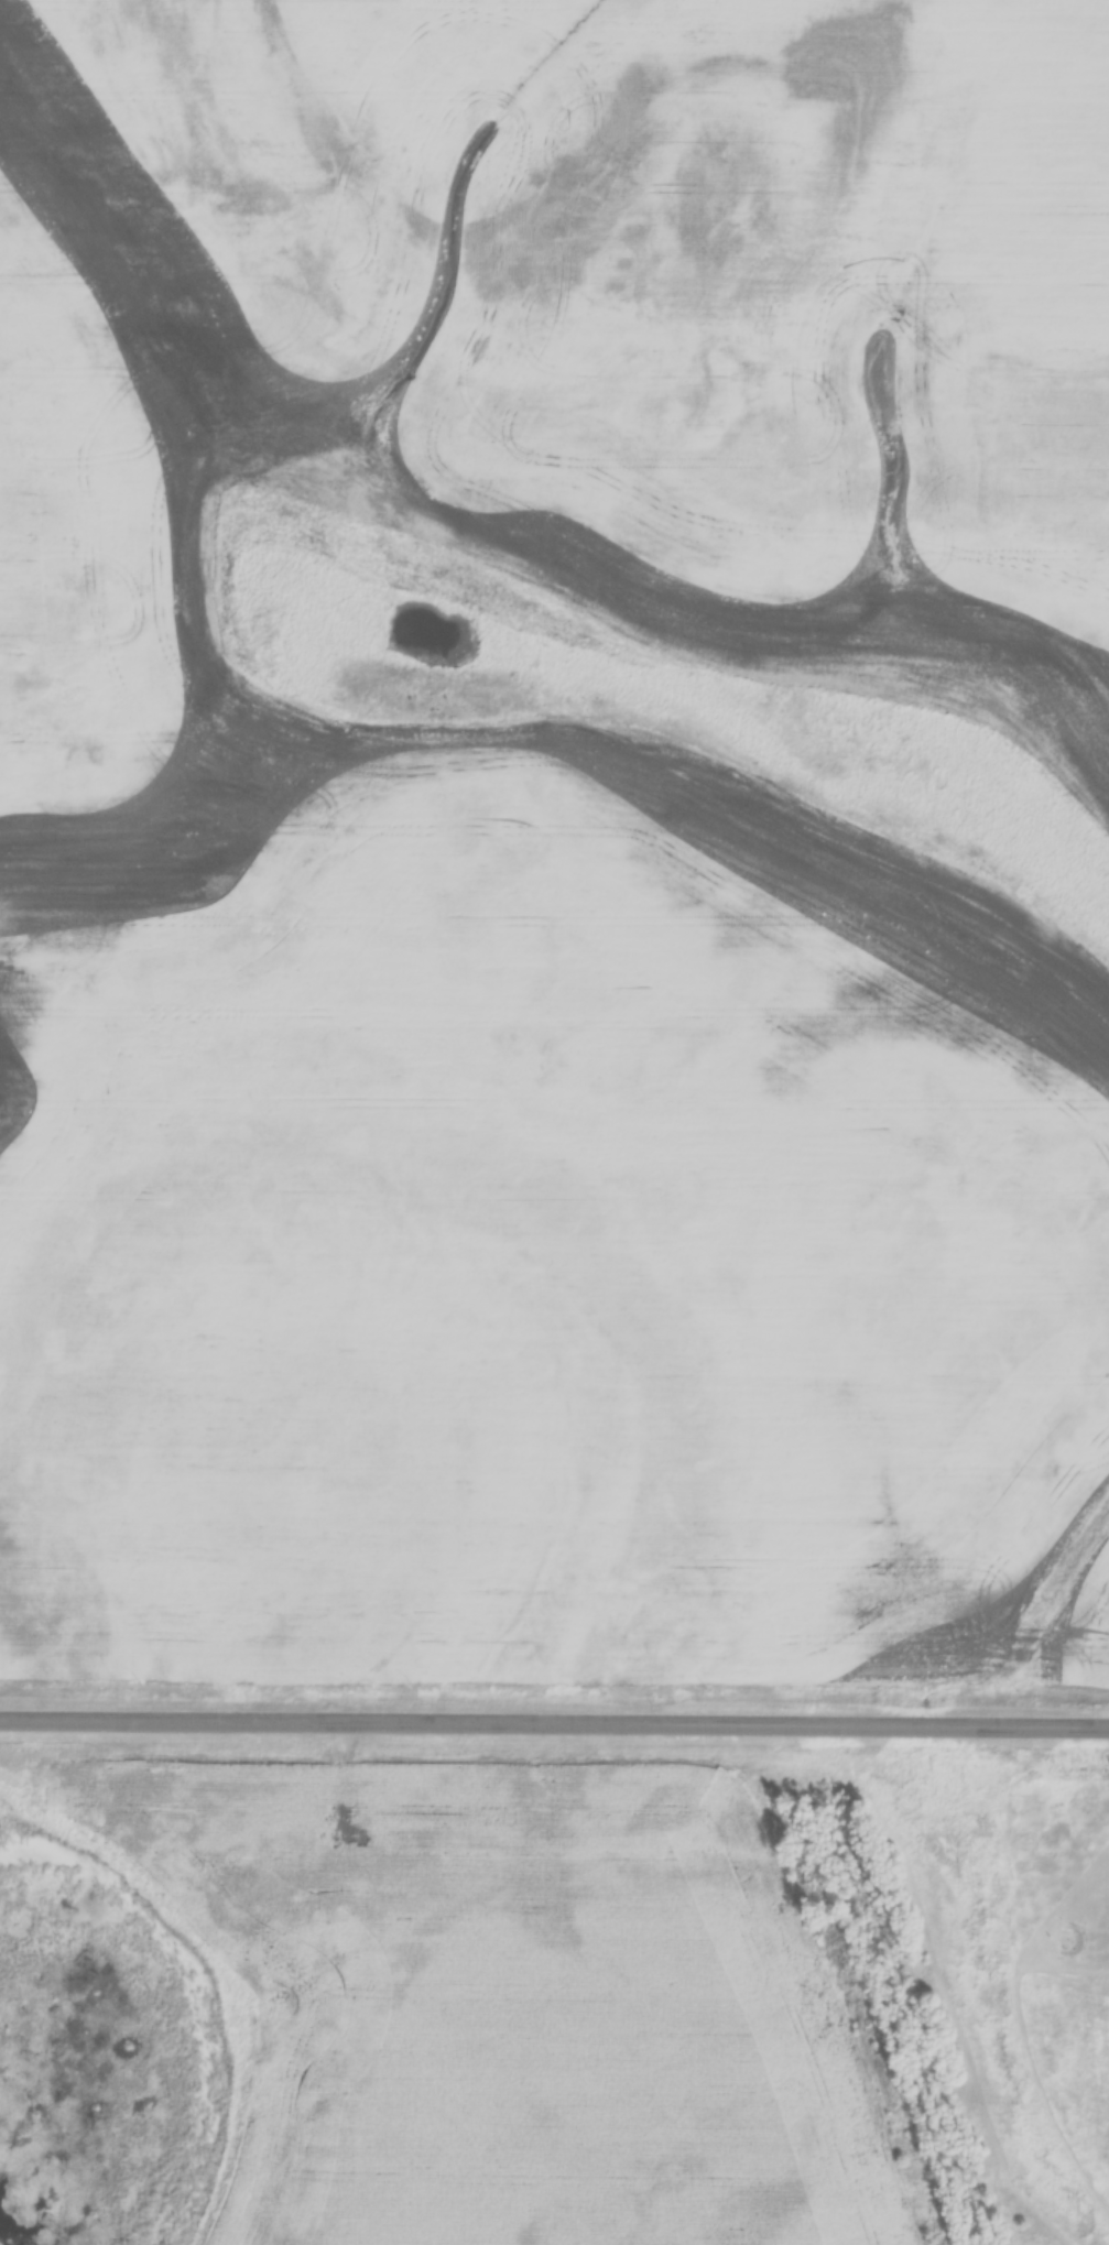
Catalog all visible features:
road: (554, 1729)

